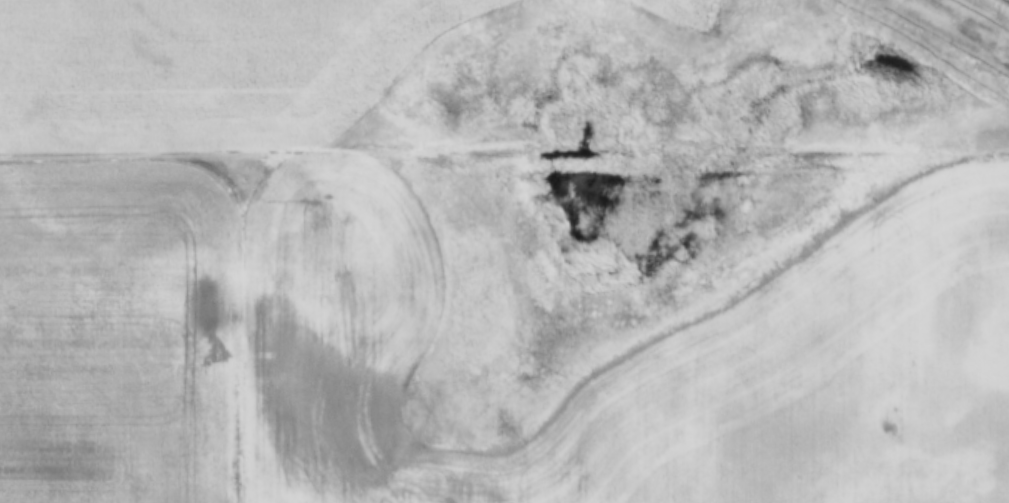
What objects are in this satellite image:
road: (504, 167)

